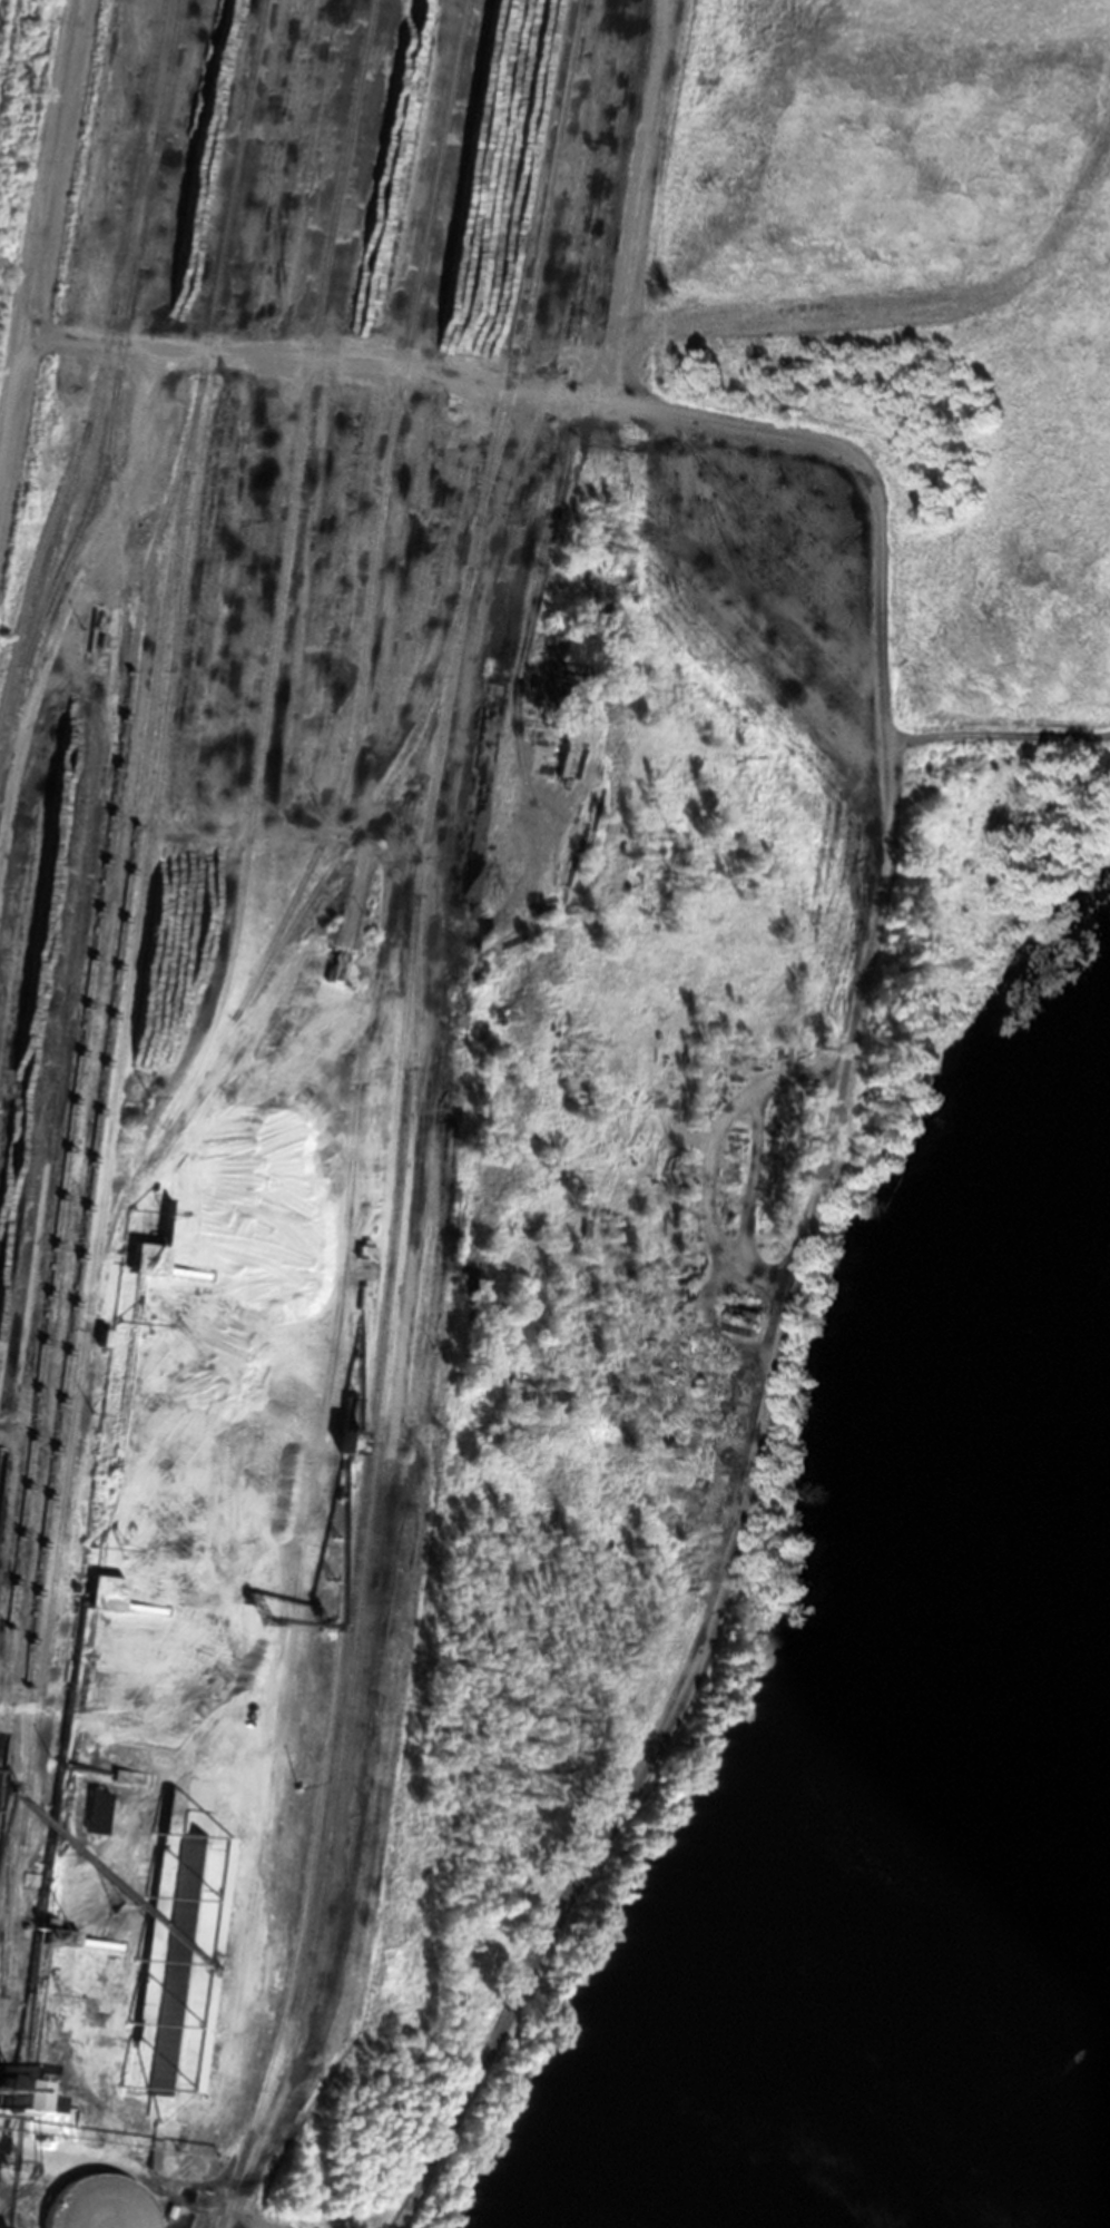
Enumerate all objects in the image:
railway: (8, 48)
road: (42, 236)
railway: (537, 262)
railway: (108, 364)
railway: (390, 518)
railway: (282, 567)
railway: (38, 610)
road: (60, 619)
building: (551, 746)
building: (547, 765)
railway: (151, 830)
railway: (125, 917)
building: (337, 963)
road: (862, 969)
railway: (244, 997)
railway: (63, 1188)
building: (366, 1248)
building: (149, 1257)
building: (364, 1296)
building: (748, 1308)
building: (104, 1335)
railway: (365, 1403)
building: (348, 1423)
railway: (3, 1430)
railway: (364, 1547)
building: (106, 1591)
building: (99, 1809)
building: (59, 1932)
building: (180, 1963)
building: (2, 2081)
building: (47, 2101)
river: (1044, 2148)
building: (155, 2153)
building: (102, 2204)
building: (159, 2204)
road: (256, 2225)

